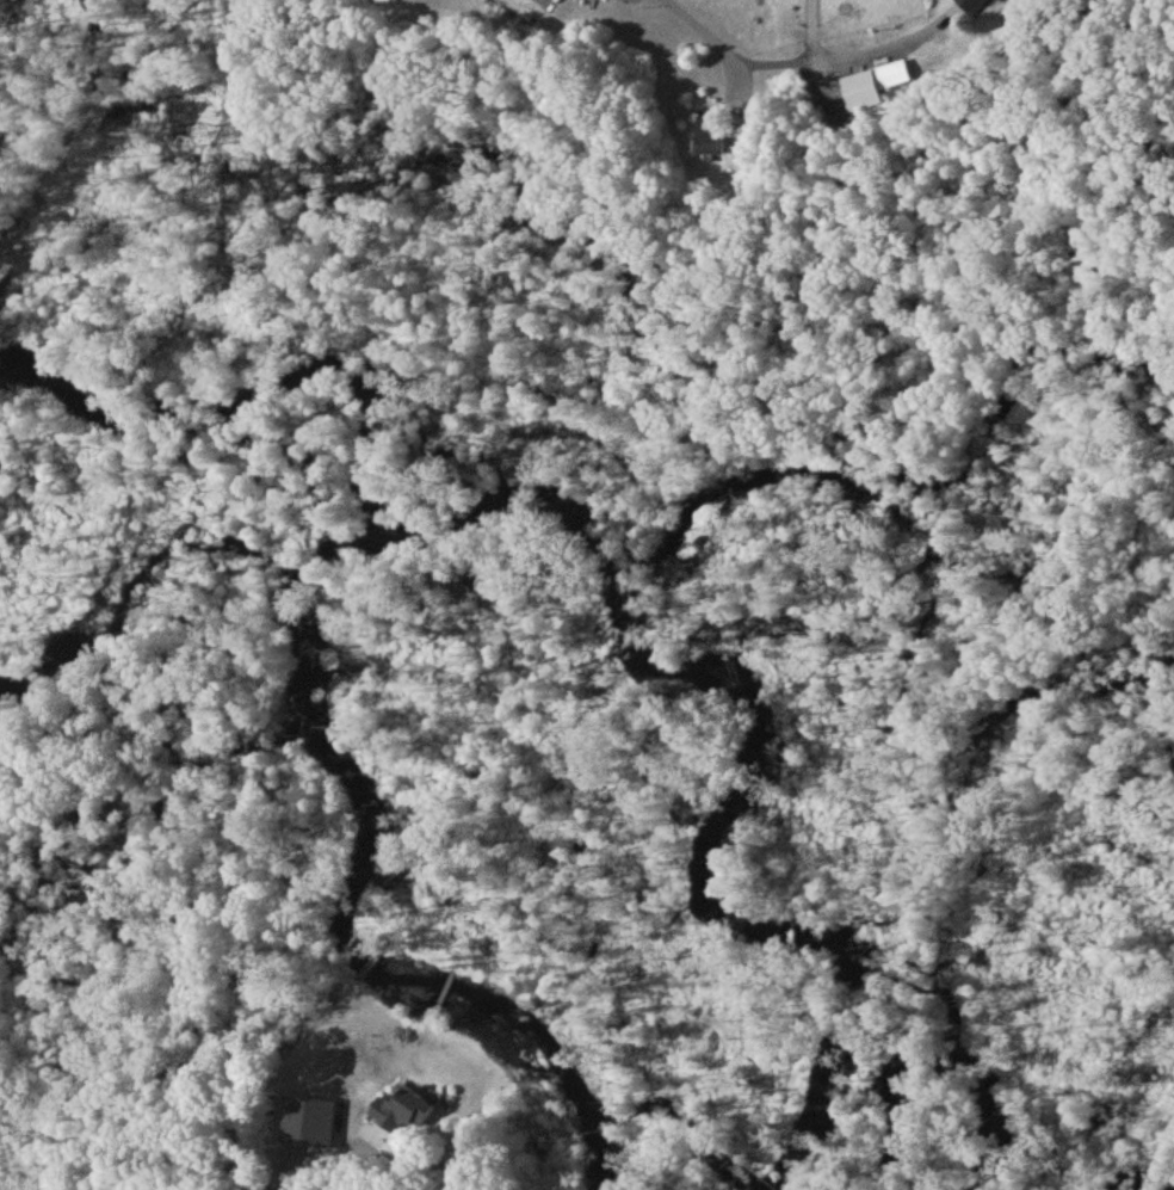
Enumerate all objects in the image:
building: (514, 0)
building: (971, 6)
road: (816, 49)
road: (737, 50)
building: (875, 87)
building: (711, 138)
building: (409, 1114)
road: (131, 1155)
road: (319, 1160)
road: (262, 1172)

